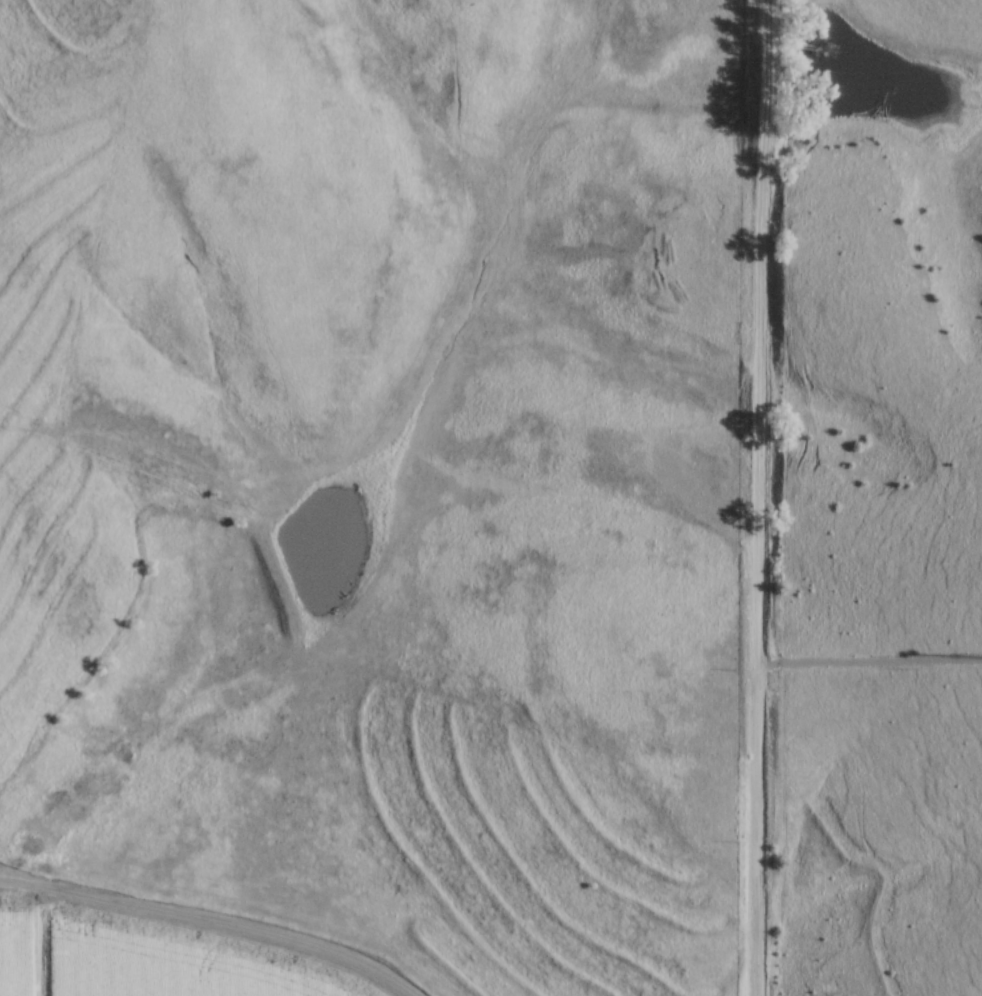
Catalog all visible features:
road: (759, 497)
road: (870, 663)
road: (210, 922)
crop: (138, 961)

